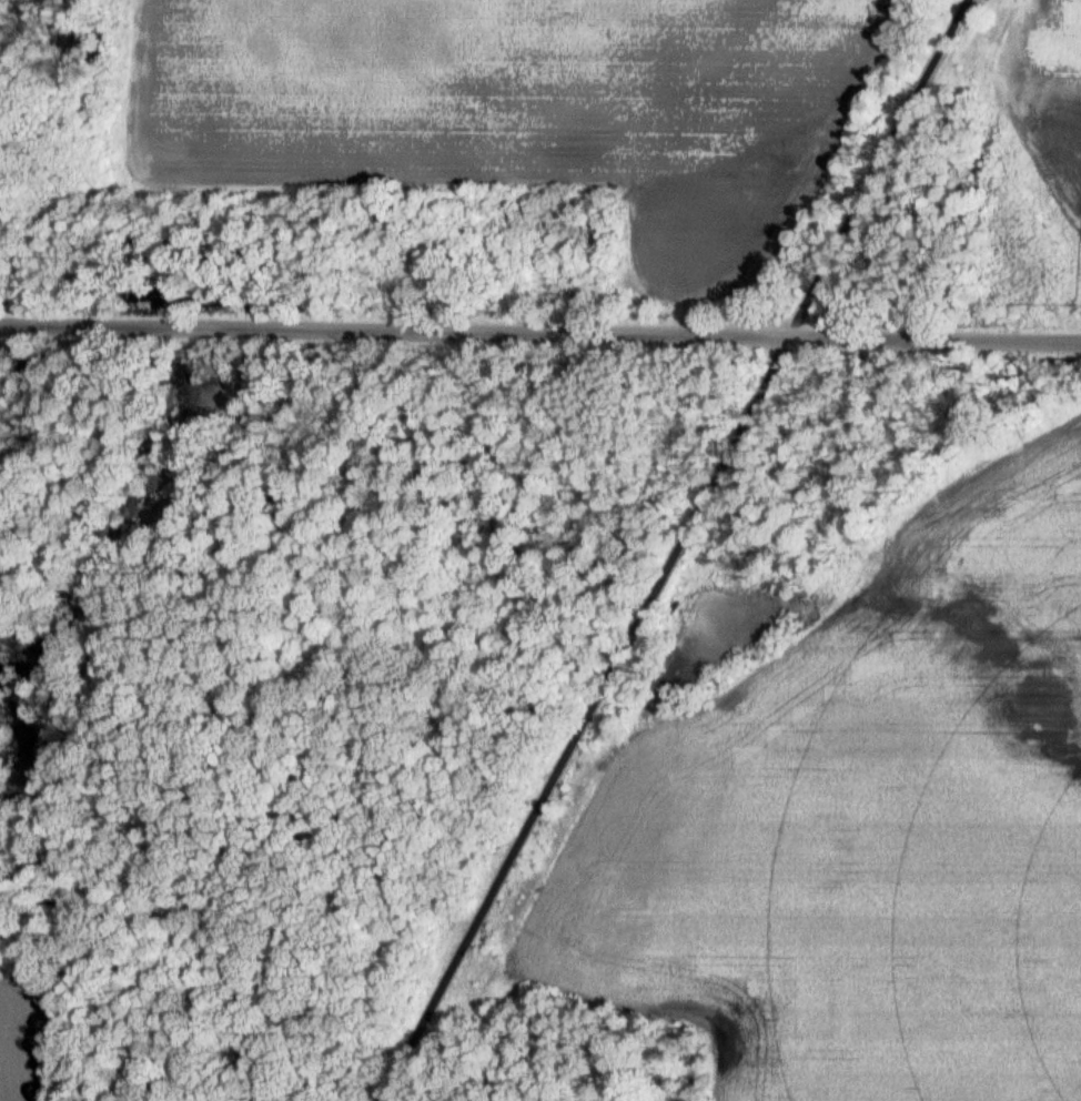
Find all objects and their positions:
road: (869, 169)
road: (540, 335)
road: (577, 719)

